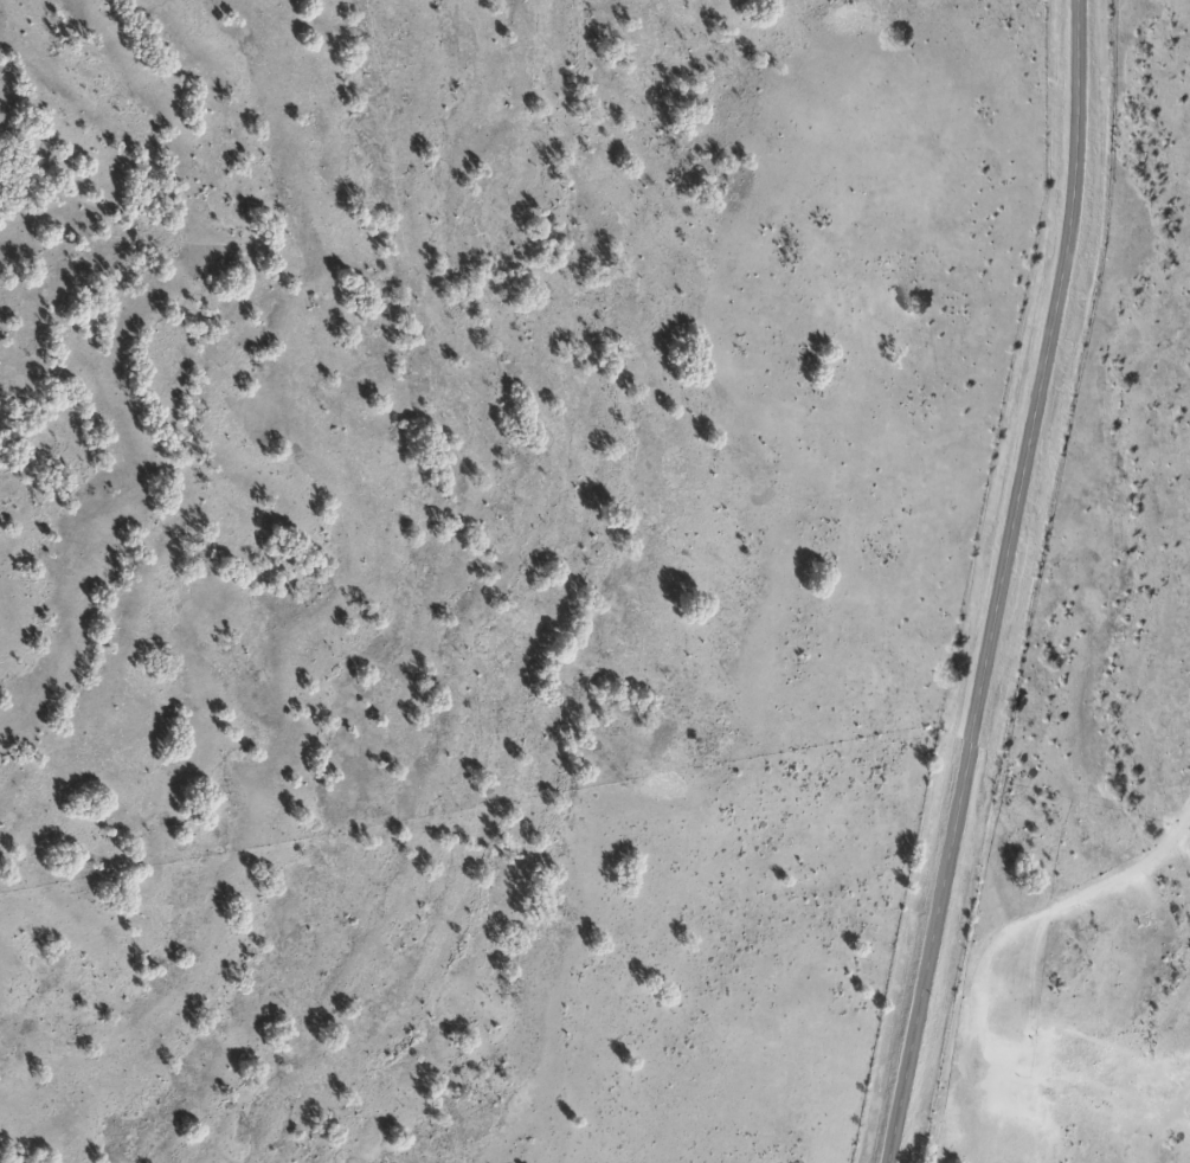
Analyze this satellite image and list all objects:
road: (1002, 583)

